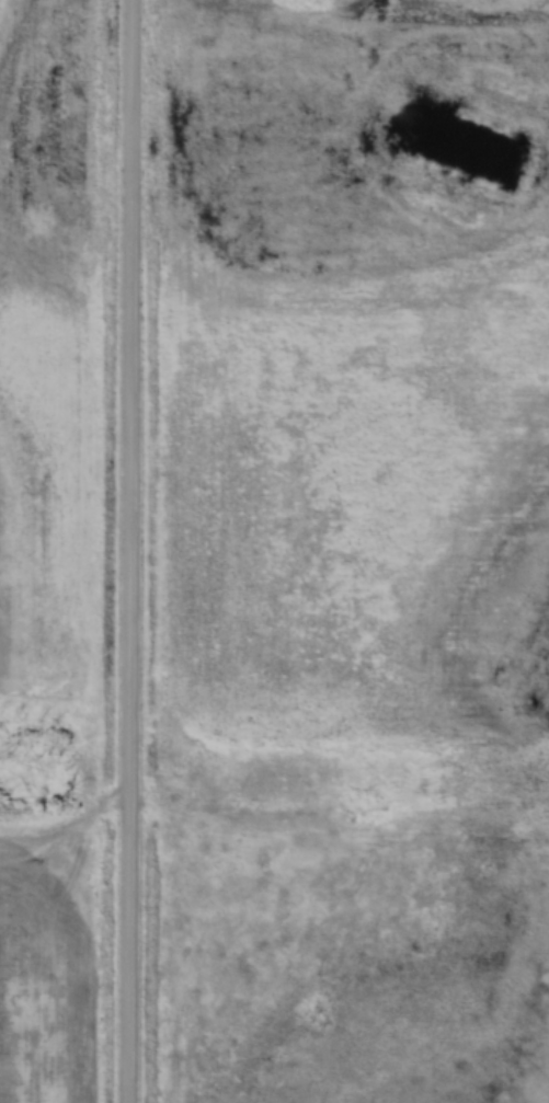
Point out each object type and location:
road: (121, 551)

